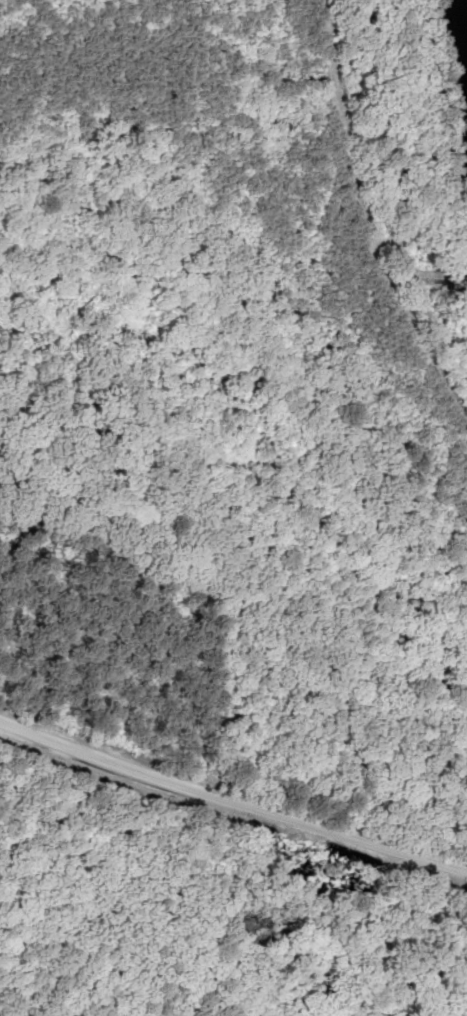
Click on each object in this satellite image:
road: (230, 796)

